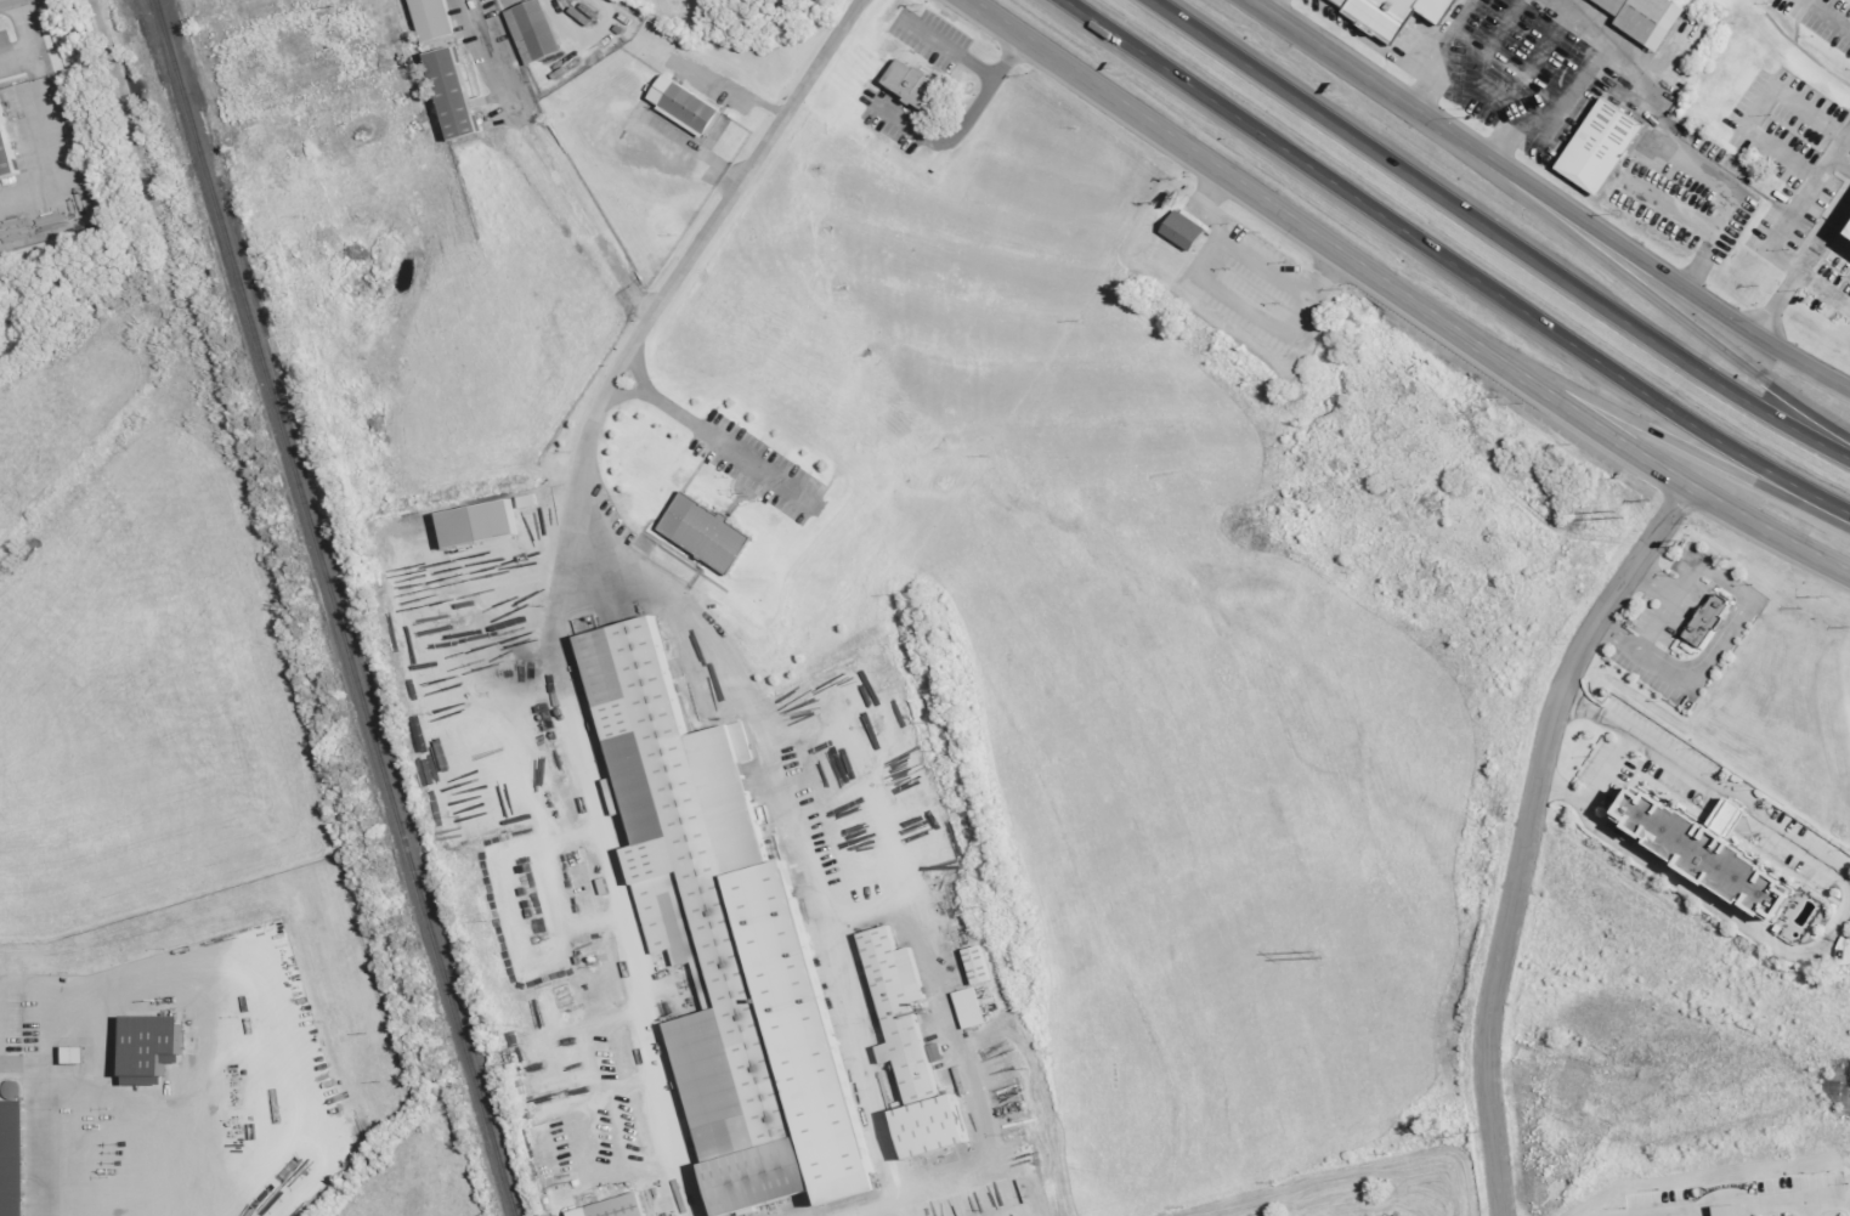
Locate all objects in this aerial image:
road: (1827, 15)
building: (1375, 17)
building: (1642, 18)
building: (436, 19)
building: (537, 33)
parking lot: (937, 44)
road: (975, 69)
building: (906, 83)
building: (460, 94)
building: (688, 106)
road: (971, 112)
road: (1809, 112)
parking lot: (889, 117)
building: (1596, 146)
building: (4, 158)
road: (1681, 158)
road: (553, 160)
road: (1841, 160)
road: (1546, 198)
building: (1178, 231)
road: (1497, 232)
building: (1848, 232)
road: (1252, 255)
road: (1452, 262)
road: (1778, 262)
road: (1799, 264)
road: (1821, 290)
road: (1240, 302)
road: (1391, 304)
road: (1680, 317)
road: (1580, 390)
power tower: (1613, 513)
building: (482, 524)
building: (701, 532)
road: (1656, 579)
road: (651, 594)
railway: (333, 607)
road: (1736, 620)
building: (1701, 621)
road: (481, 712)
road: (1606, 771)
road: (508, 775)
road: (1707, 784)
road: (1517, 837)
road: (572, 839)
building: (1702, 853)
road: (622, 892)
road: (1695, 893)
road: (593, 924)
building: (718, 931)
power tower: (1309, 951)
road: (561, 958)
building: (980, 966)
building: (972, 1008)
road: (621, 1018)
building: (906, 1042)
building: (157, 1048)
building: (81, 1054)
road: (610, 1098)
road: (589, 1141)
building: (16, 1158)
road: (644, 1167)
road: (977, 1176)
parking lot: (1752, 1199)
road: (1754, 1205)
building: (620, 1207)
road: (898, 1207)
road: (1809, 1207)

